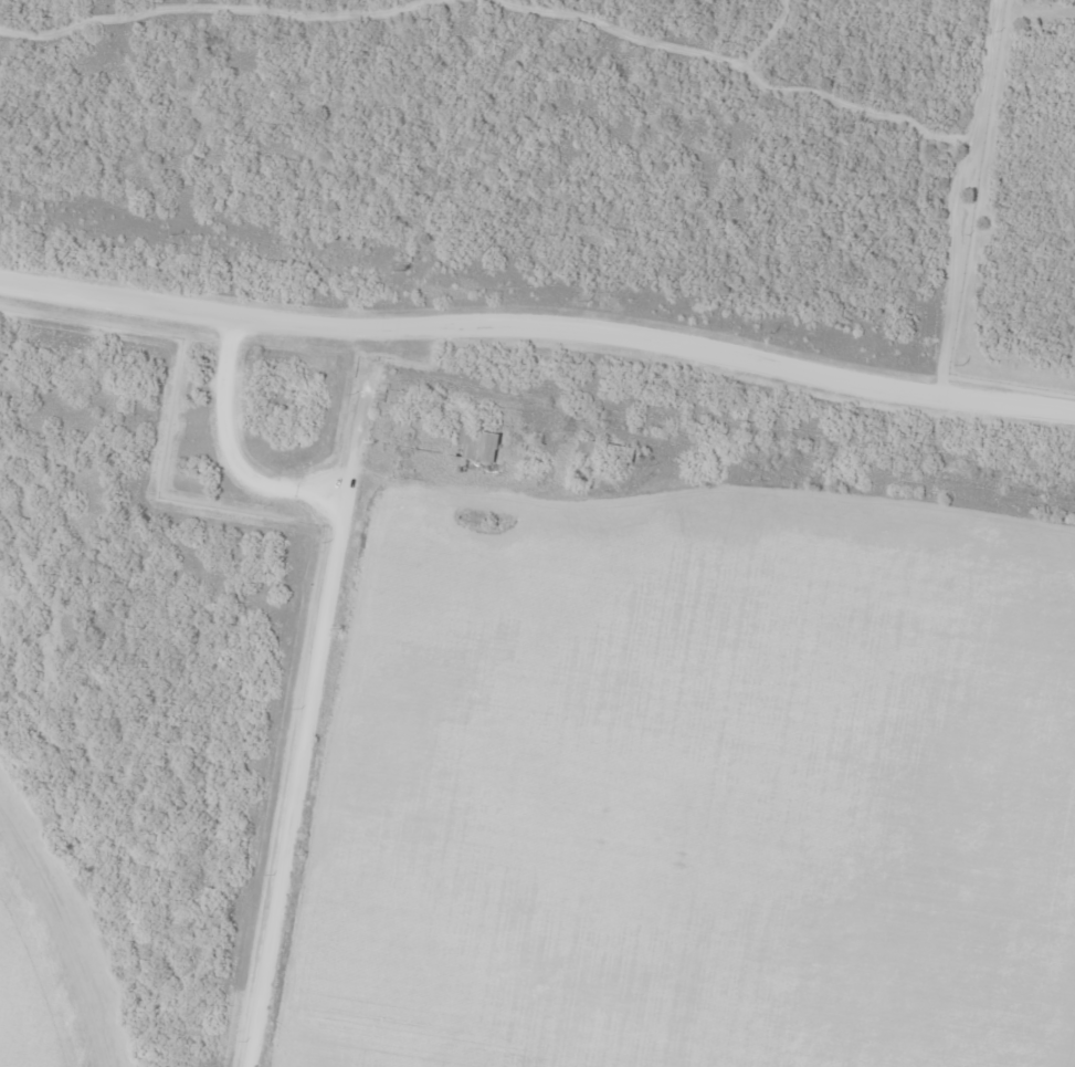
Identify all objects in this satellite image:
road: (537, 306)
railway: (537, 336)
road: (105, 341)
building: (477, 446)
building: (605, 452)
road: (299, 729)

